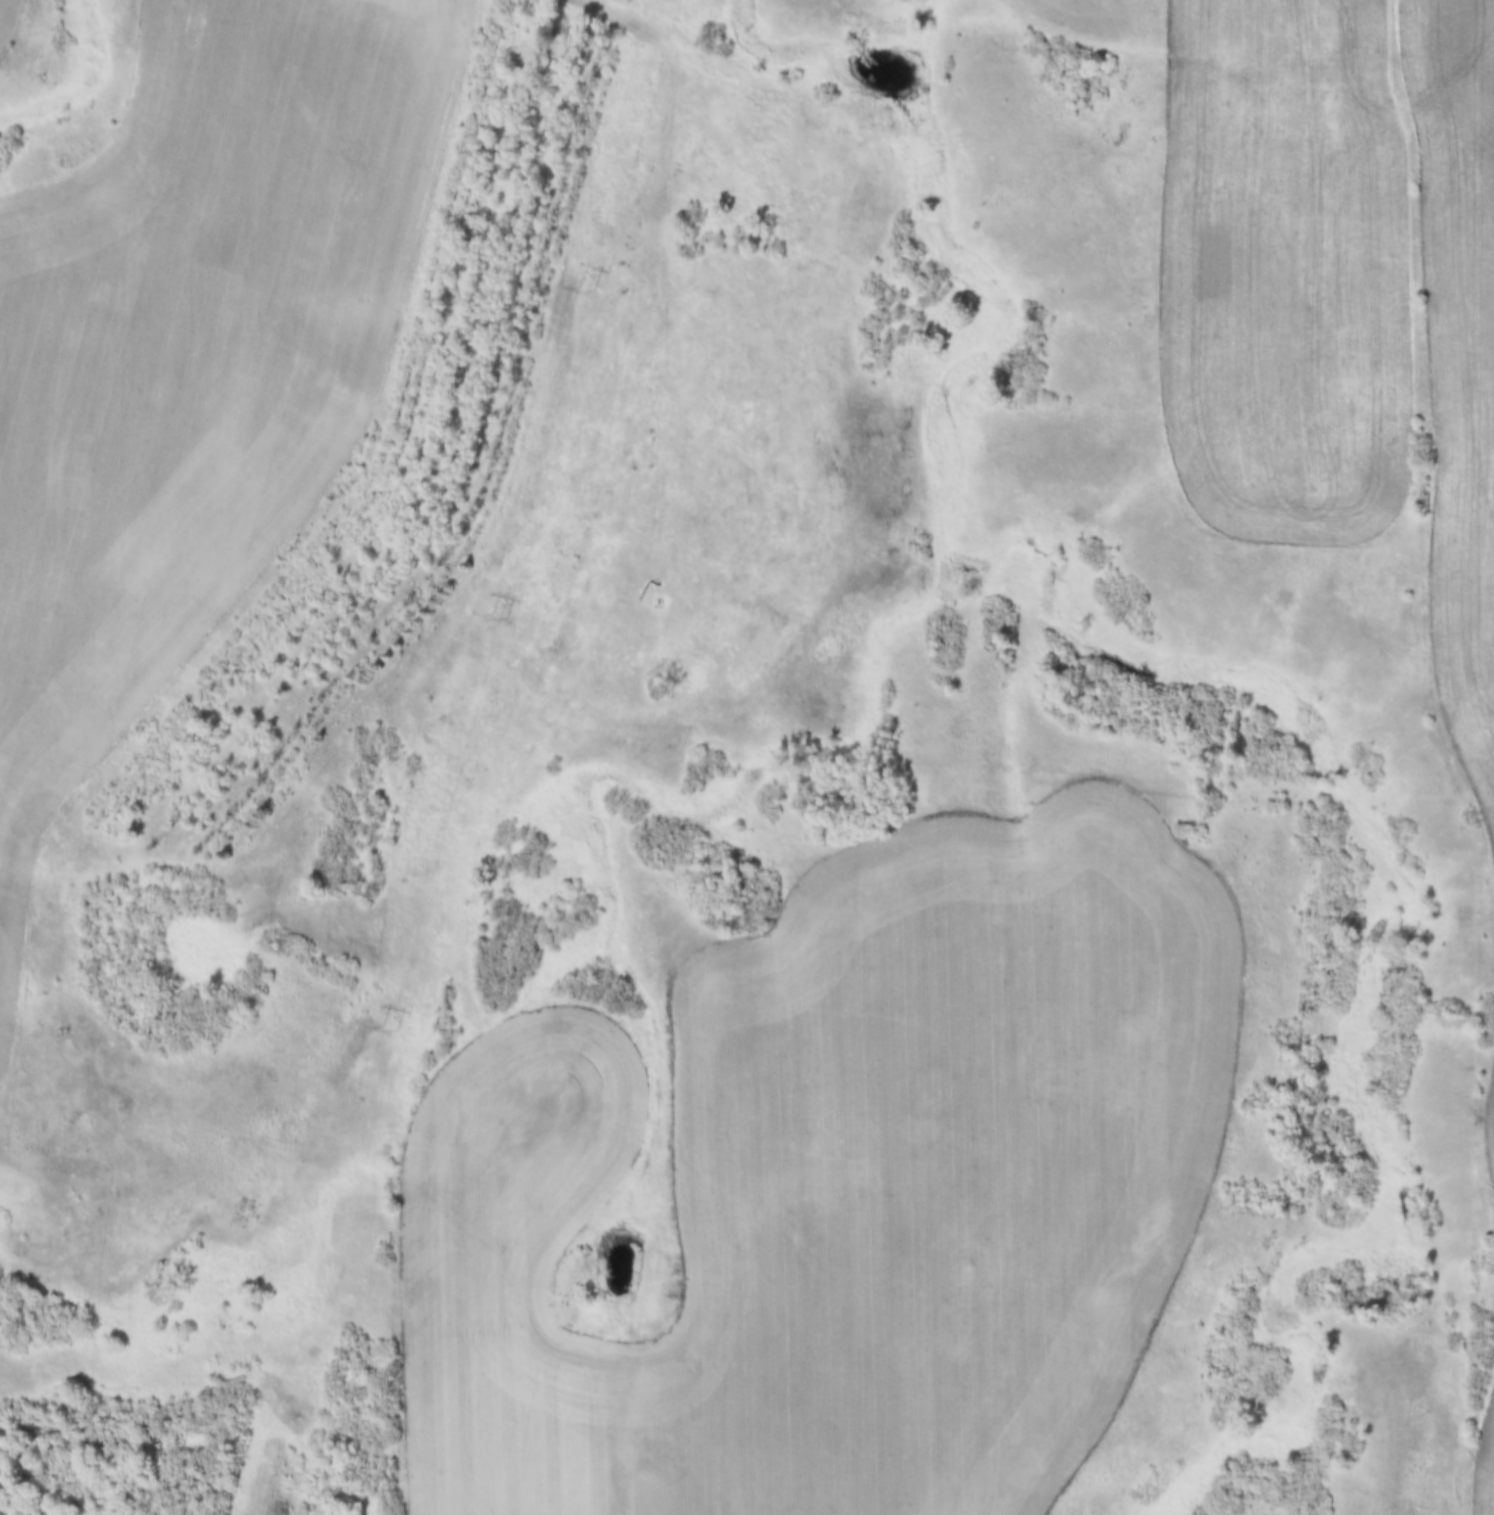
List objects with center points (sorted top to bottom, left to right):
power tower: (593, 289)
power tower: (507, 617)
power tower: (393, 1029)

